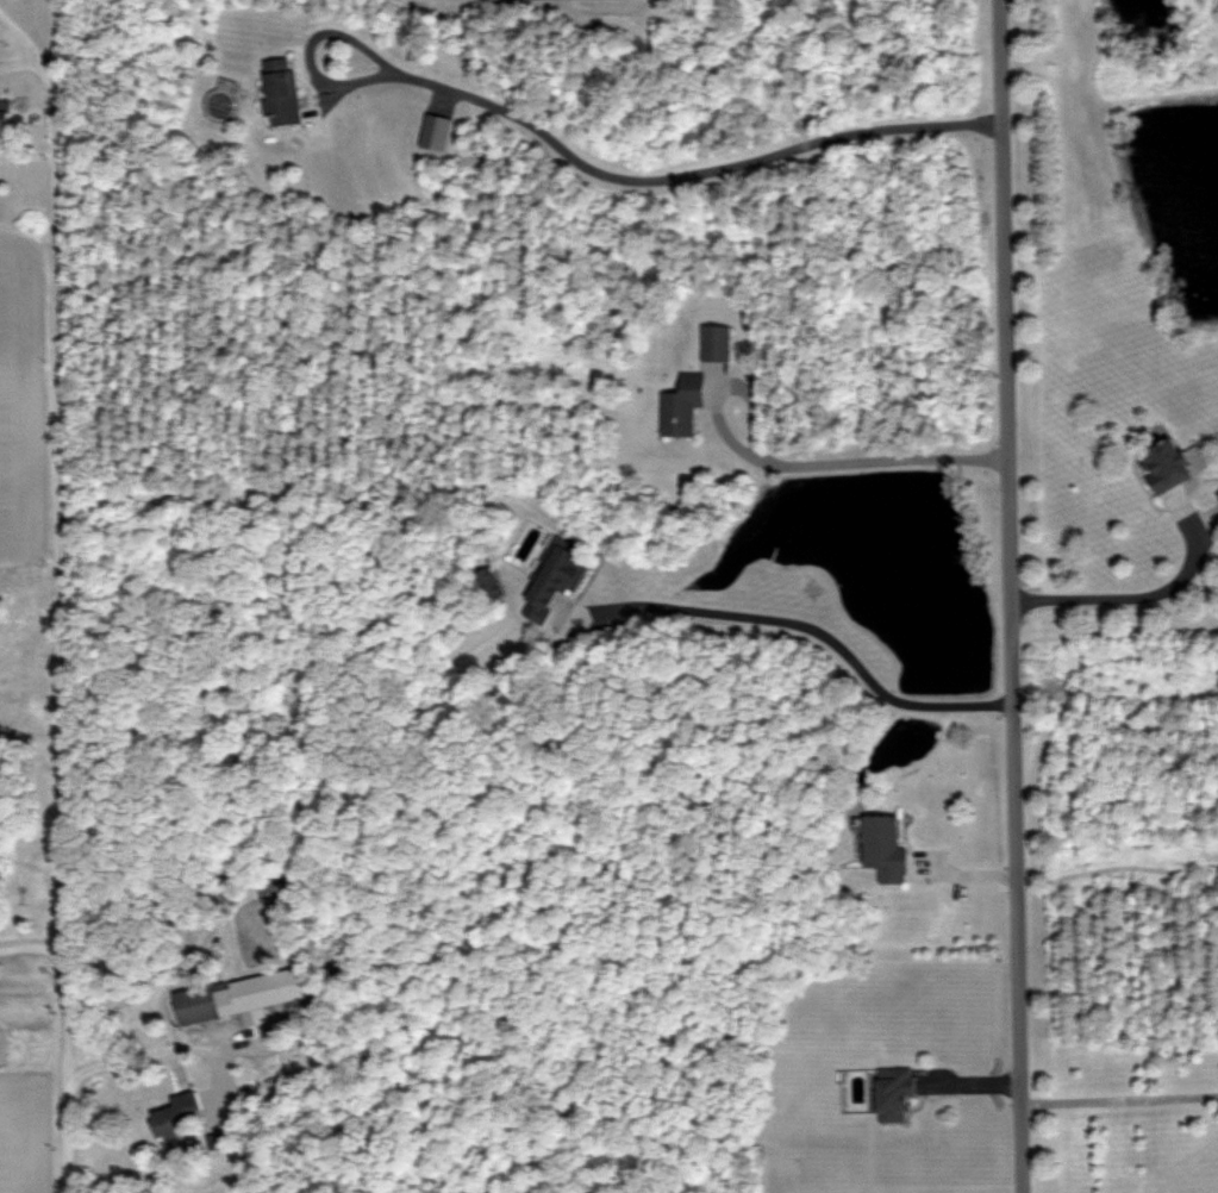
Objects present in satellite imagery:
building: (280, 92)
building: (4, 114)
building: (435, 132)
road: (670, 180)
building: (716, 346)
building: (682, 406)
road: (832, 452)
building: (1164, 467)
building: (1217, 495)
building: (556, 562)
road: (57, 588)
road: (1144, 591)
road: (1011, 595)
road: (801, 616)
building: (885, 848)
building: (275, 882)
road: (32, 948)
building: (235, 1003)
road: (158, 1053)
building: (893, 1094)
road: (1119, 1094)
building: (177, 1117)

